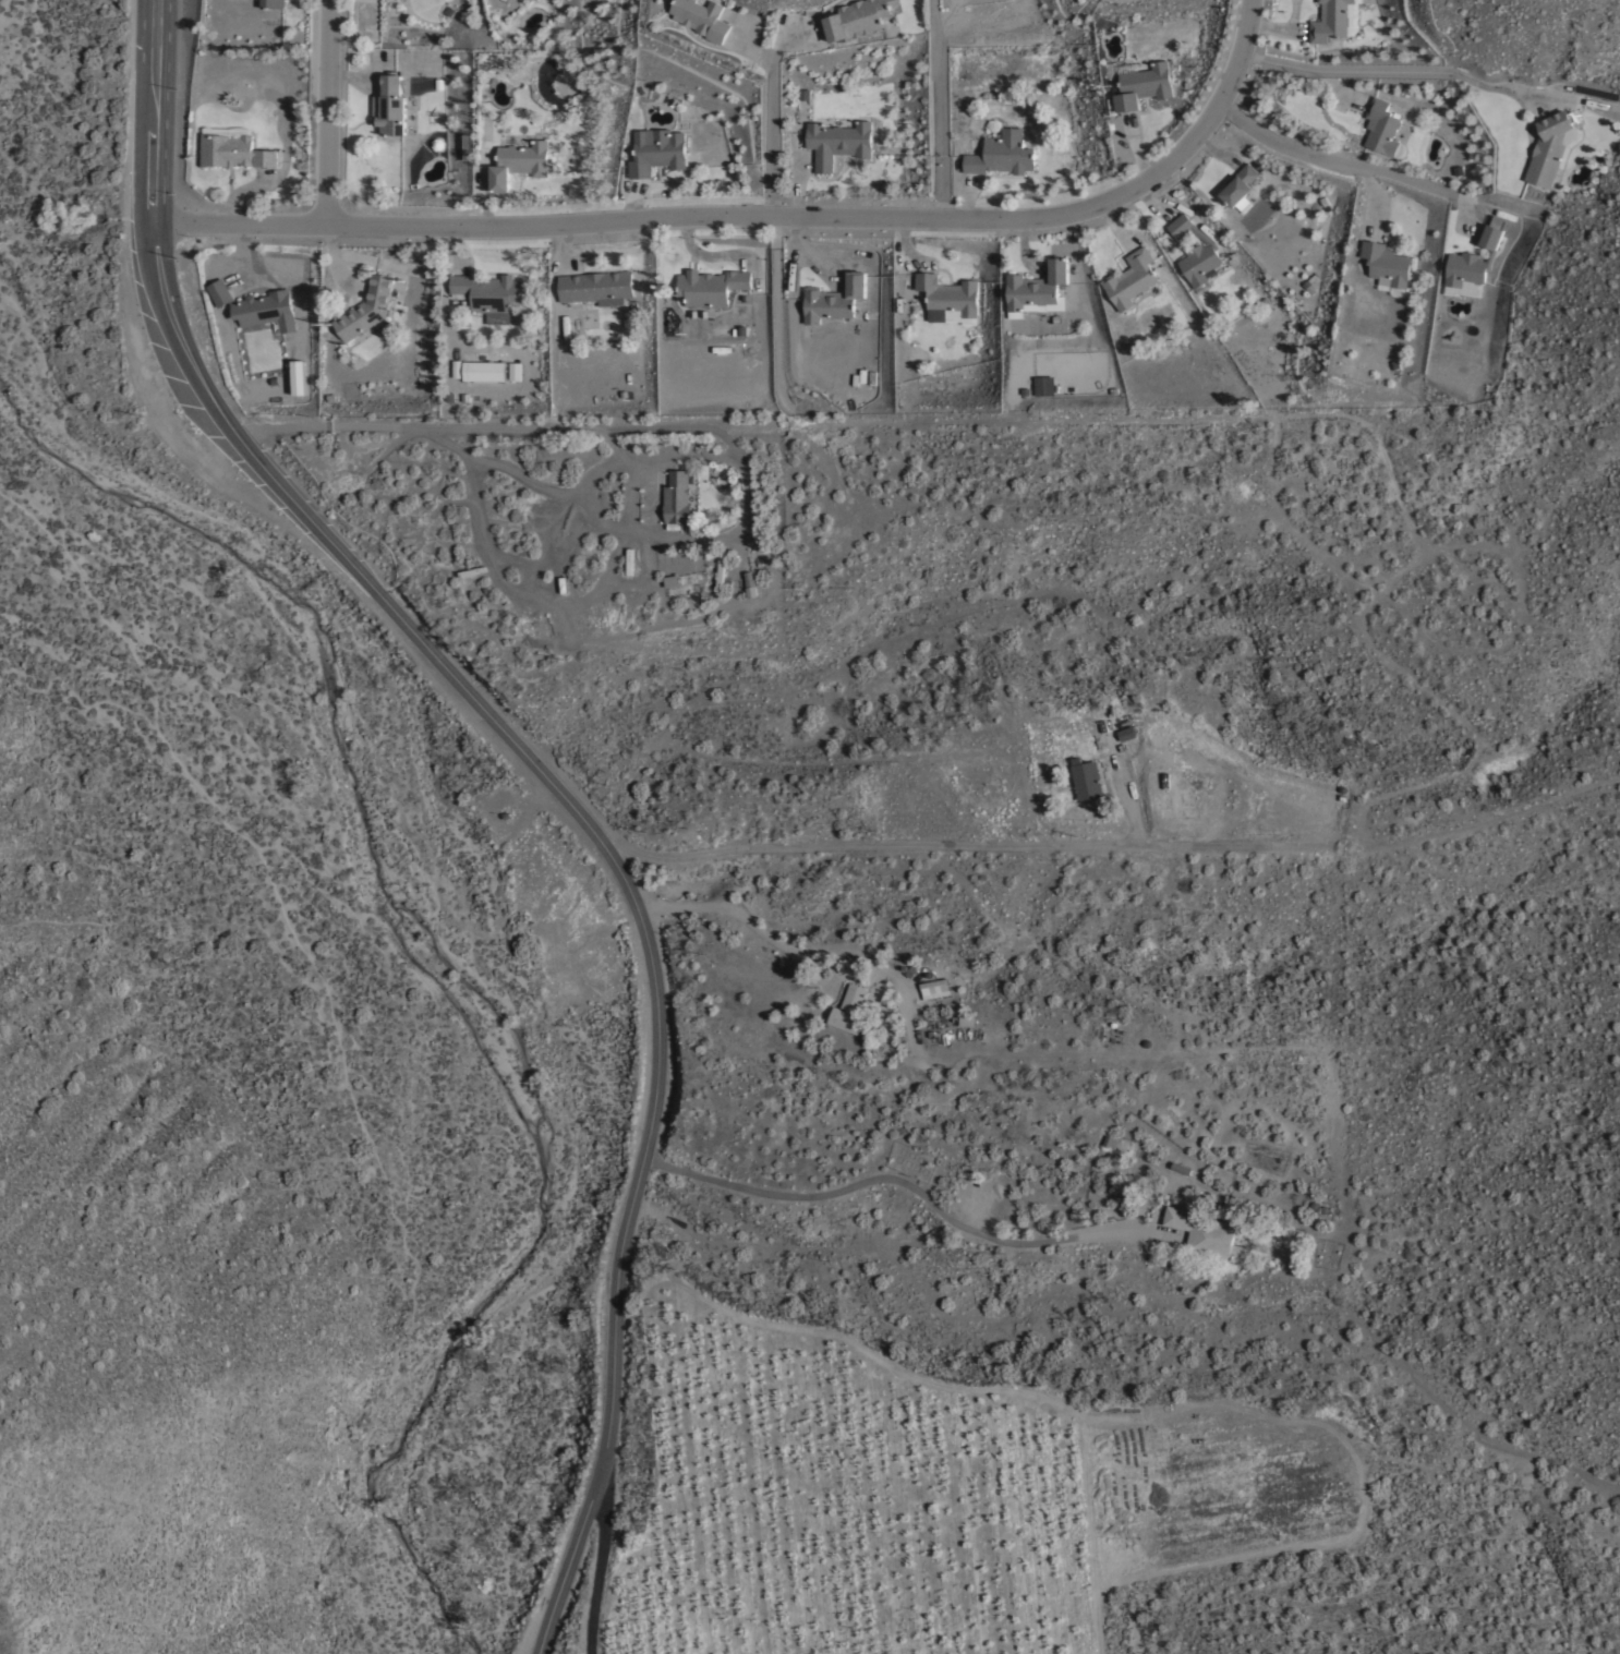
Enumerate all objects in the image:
building: (271, 2)
building: (702, 16)
road: (1248, 16)
building: (856, 17)
building: (1329, 20)
road: (1386, 72)
building: (1143, 84)
building: (389, 104)
road: (940, 109)
road: (325, 112)
road: (773, 120)
building: (1381, 125)
building: (838, 141)
building: (1548, 146)
building: (656, 149)
building: (233, 150)
building: (1002, 153)
building: (520, 161)
road: (1343, 167)
building: (1240, 184)
road: (743, 216)
building: (1196, 251)
building: (1474, 257)
building: (1387, 264)
building: (1131, 277)
building: (1310, 282)
building: (711, 285)
building: (1037, 285)
building: (596, 286)
building: (488, 293)
building: (833, 298)
building: (947, 298)
building: (256, 304)
building: (366, 306)
building: (483, 370)
building: (512, 371)
building: (1043, 384)
building: (676, 496)
building: (720, 574)
building: (670, 579)
building: (750, 583)
building: (1126, 732)
road: (555, 775)
building: (1086, 777)
road: (911, 846)
road: (782, 951)
building: (935, 988)
building: (848, 1007)
building: (966, 1019)
building: (1180, 1167)
road: (885, 1179)
building: (1207, 1232)
crop: (936, 1499)
road: (597, 1580)

